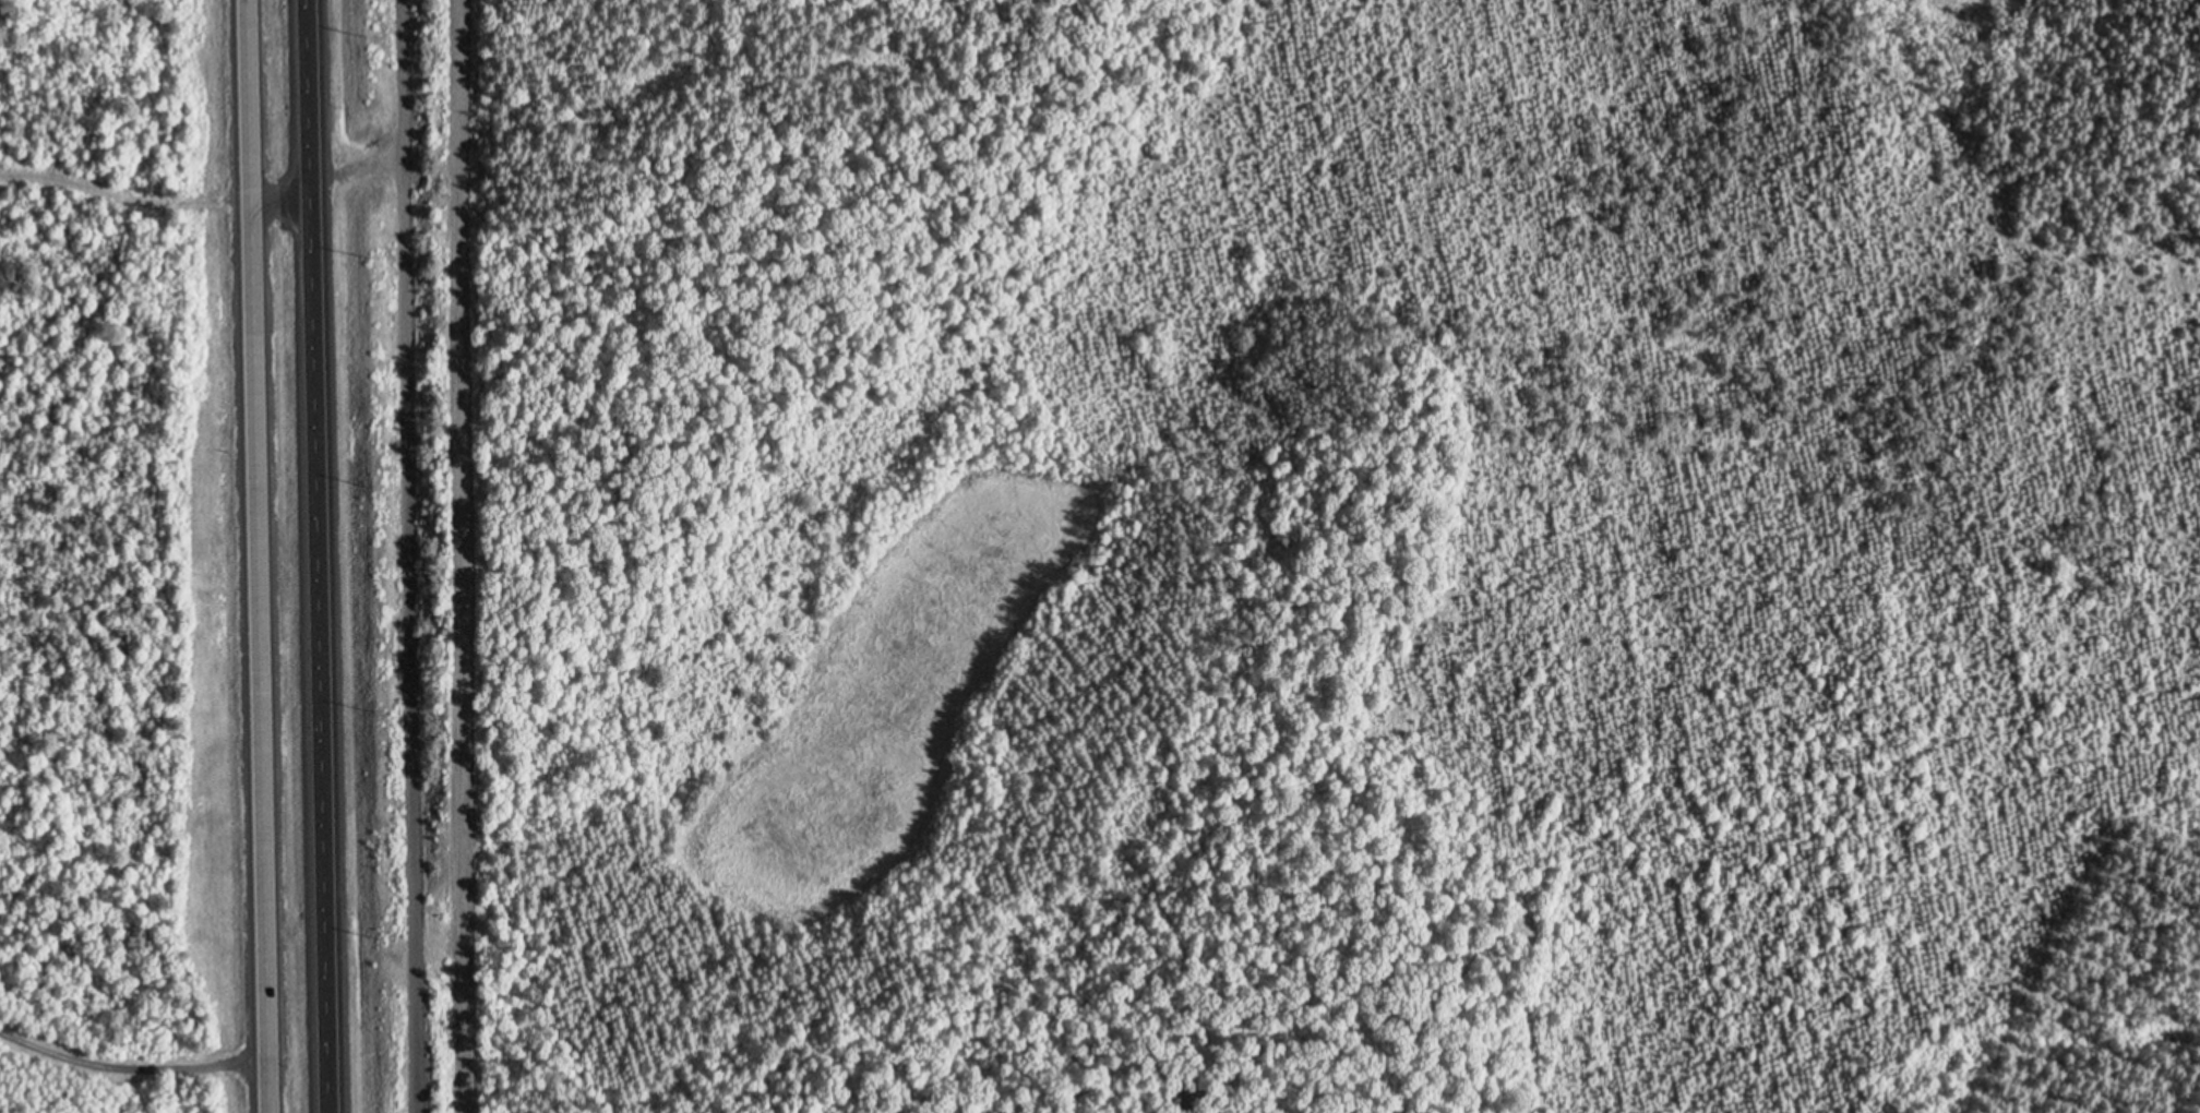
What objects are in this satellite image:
road: (123, 201)
road: (255, 555)
road: (464, 555)
road: (314, 556)
road: (403, 556)
road: (129, 1075)

